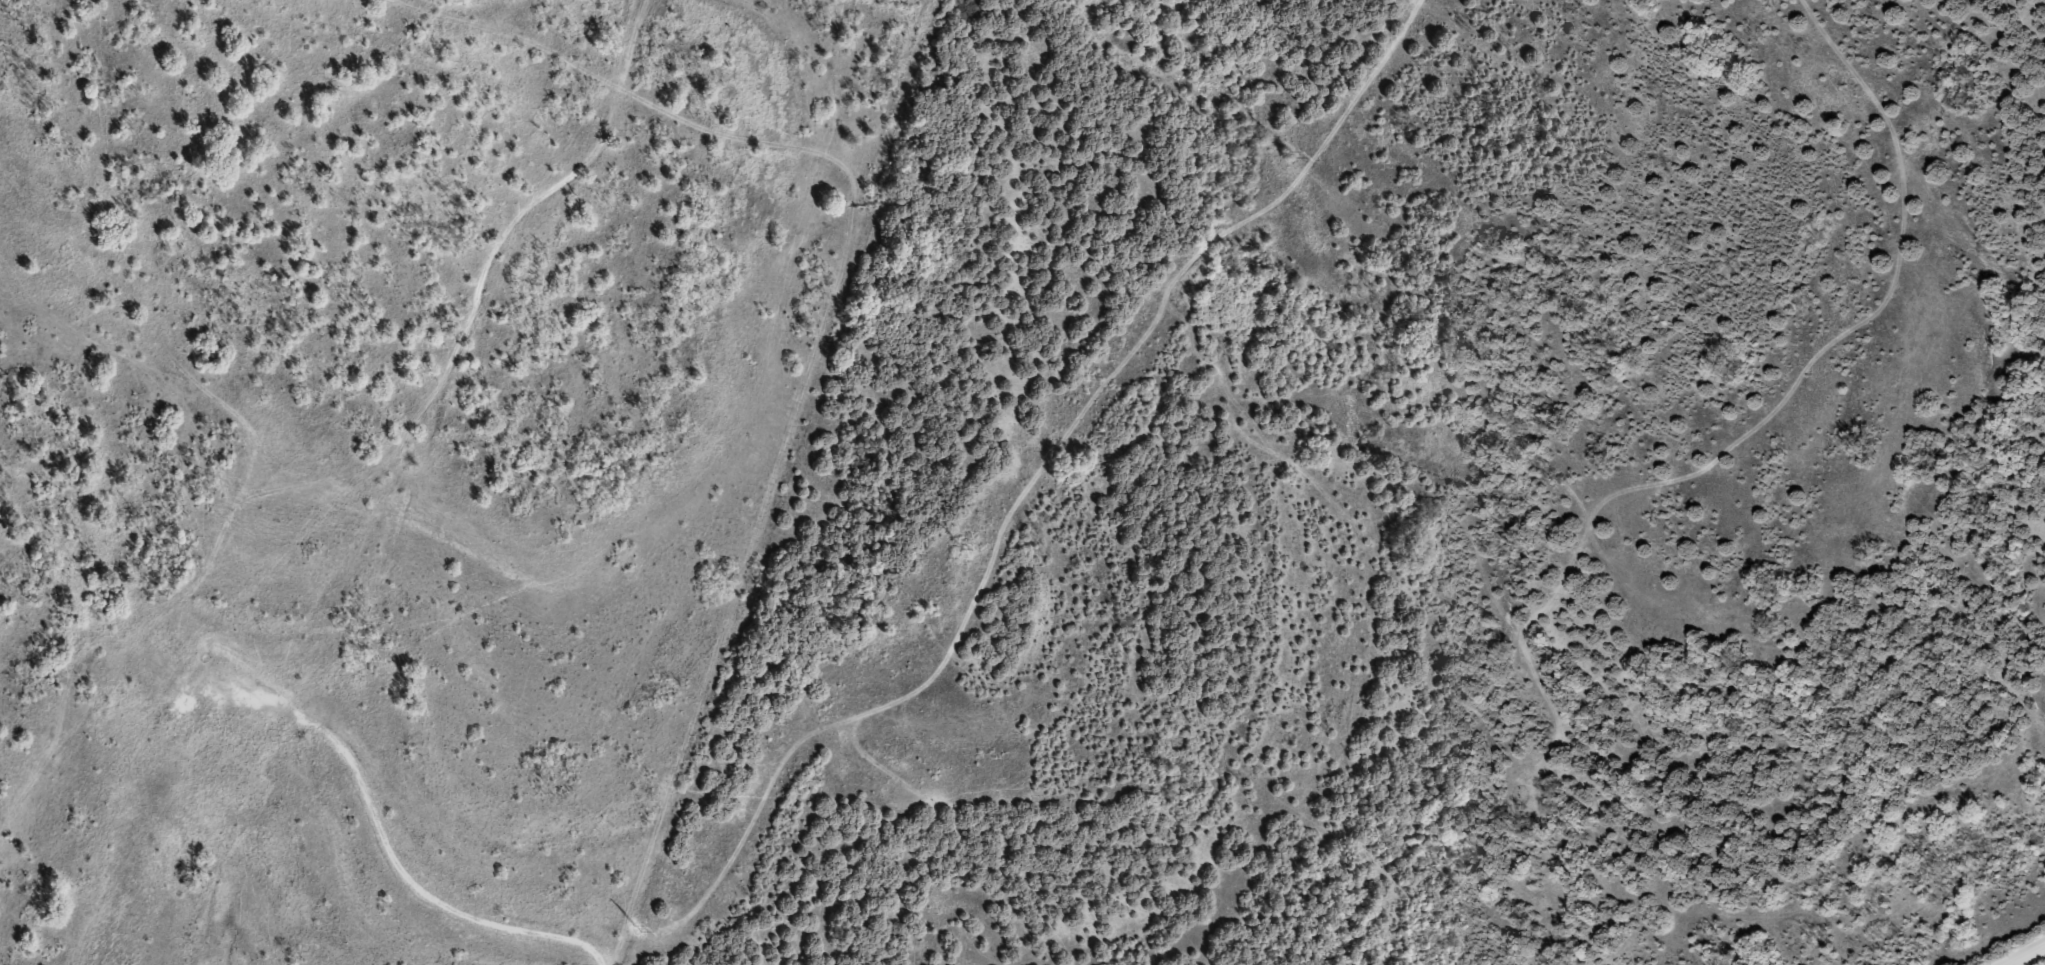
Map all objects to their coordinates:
power tower: (1286, 154)
road: (338, 492)
power tower: (957, 546)
power tower: (636, 929)
road: (2022, 953)

